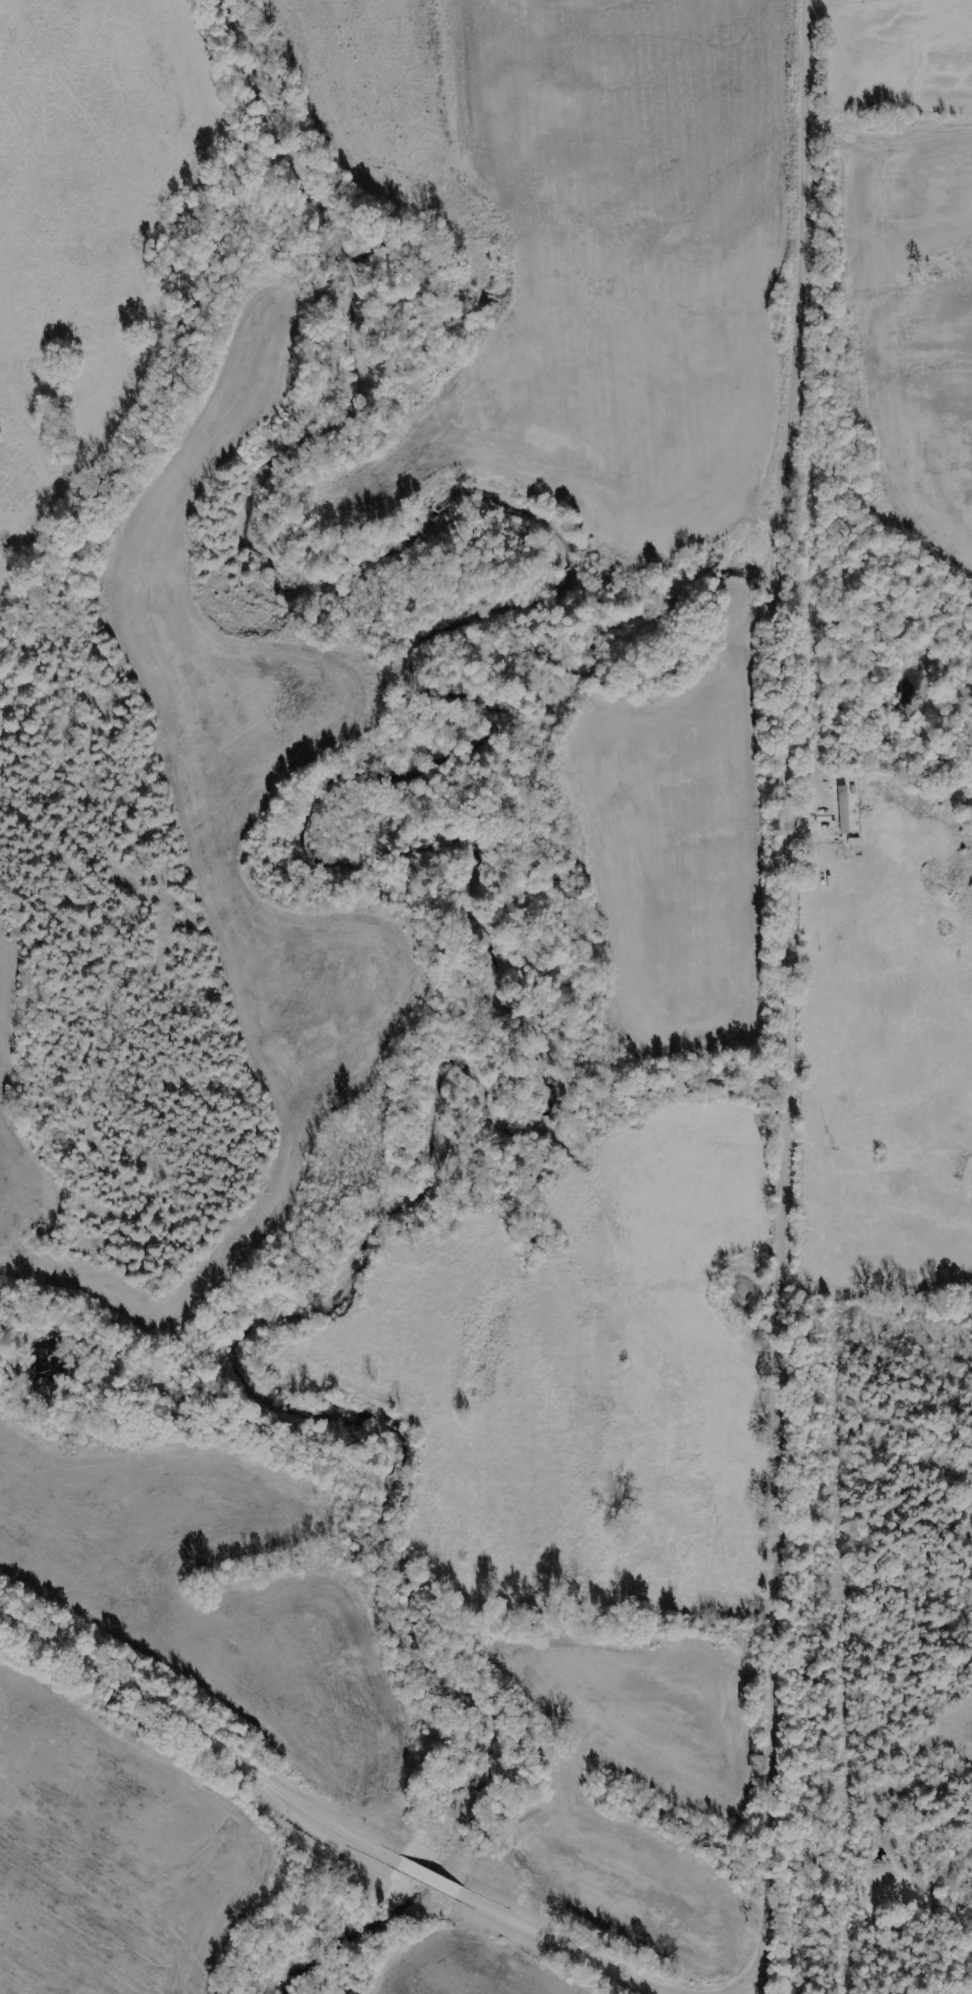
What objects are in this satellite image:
road: (813, 996)
road: (345, 1798)

